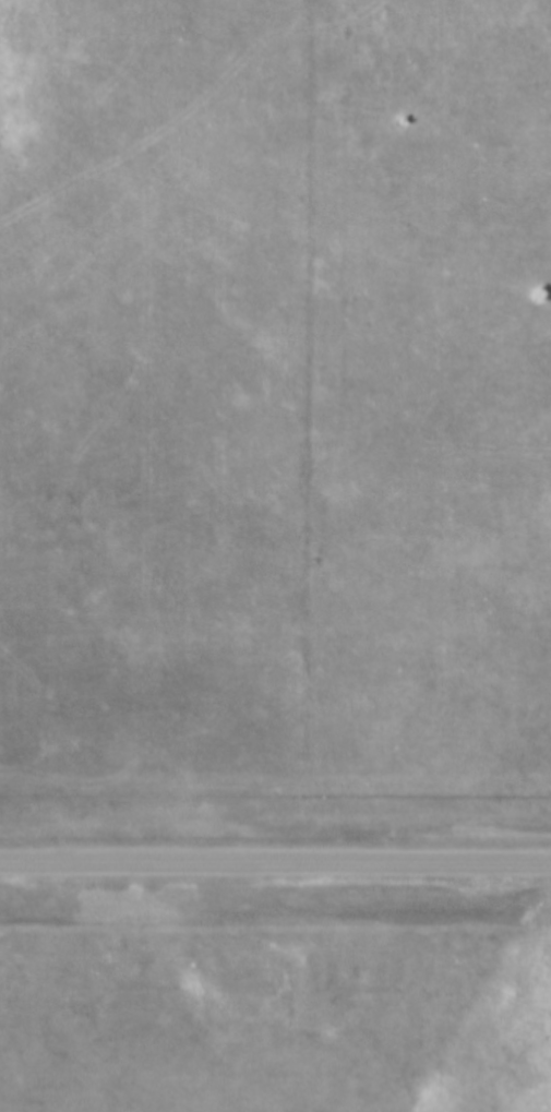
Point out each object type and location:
road: (275, 854)

